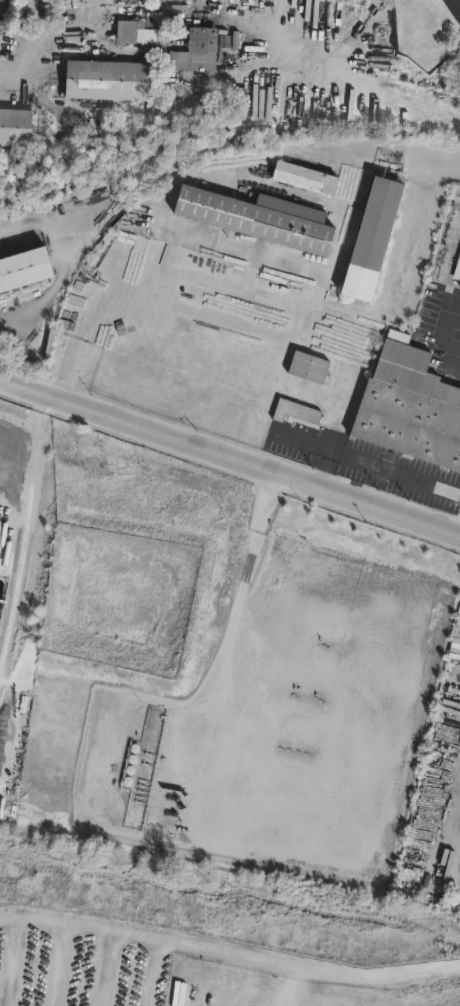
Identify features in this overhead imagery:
building: (183, 49)
building: (103, 83)
building: (13, 130)
building: (302, 182)
building: (262, 218)
building: (374, 238)
building: (457, 268)
building: (23, 271)
road: (443, 332)
building: (311, 367)
building: (409, 407)
building: (297, 411)
road: (230, 452)
road: (403, 475)
road: (230, 650)
road: (12, 927)
road: (242, 956)
road: (17, 966)
road: (66, 969)
road: (110, 972)
road: (158, 976)

